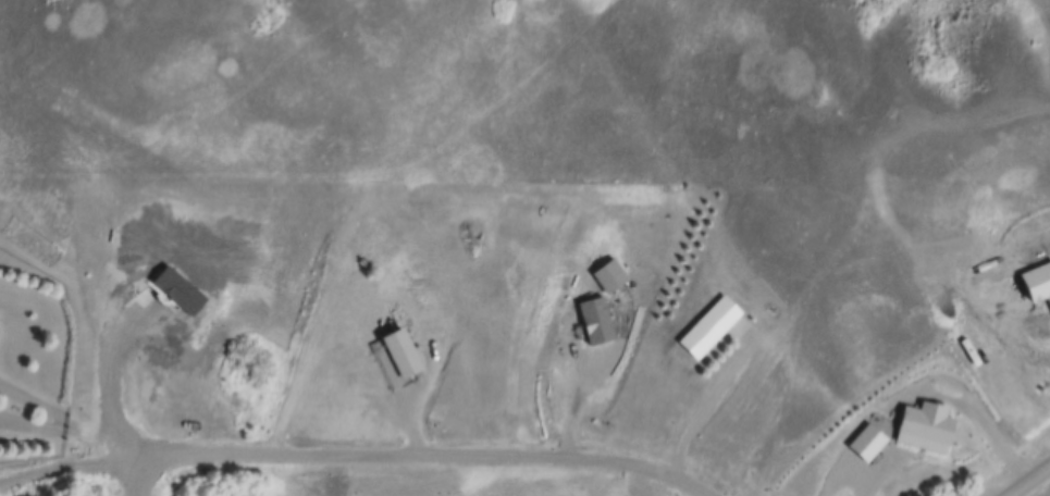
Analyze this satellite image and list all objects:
road: (388, 185)
building: (607, 274)
building: (1039, 284)
building: (593, 321)
building: (711, 326)
building: (402, 352)
road: (590, 375)
road: (708, 398)
road: (33, 402)
road: (977, 411)
road: (30, 424)
building: (931, 427)
road: (100, 439)
building: (872, 443)
road: (408, 458)
road: (847, 475)
road: (1036, 485)

